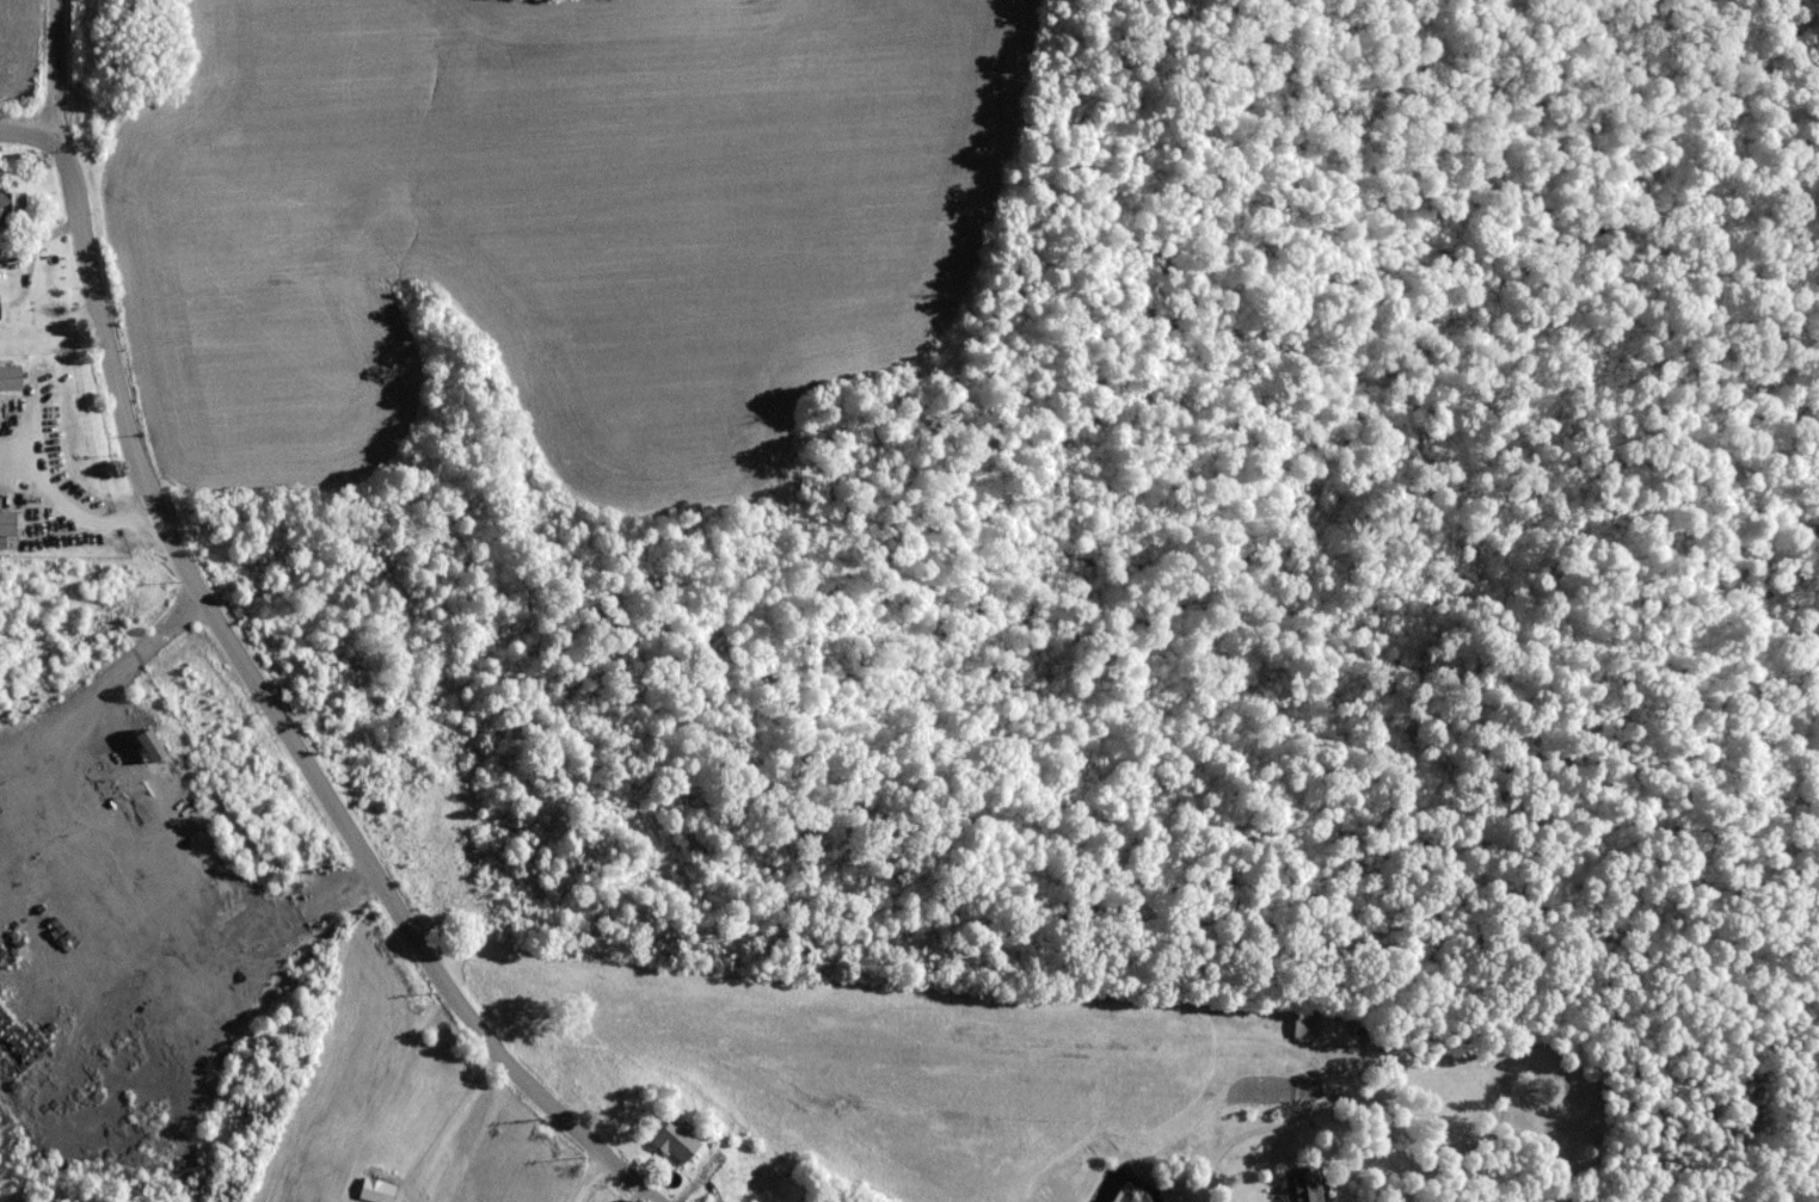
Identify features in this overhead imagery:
road: (54, 66)
road: (26, 132)
building: (11, 207)
building: (1, 258)
building: (8, 378)
building: (6, 525)
road: (271, 720)
building: (148, 747)
building: (1303, 1028)
road: (445, 1117)
road: (1233, 1141)
building: (675, 1142)
road: (591, 1169)
building: (1301, 1184)
building: (375, 1191)

